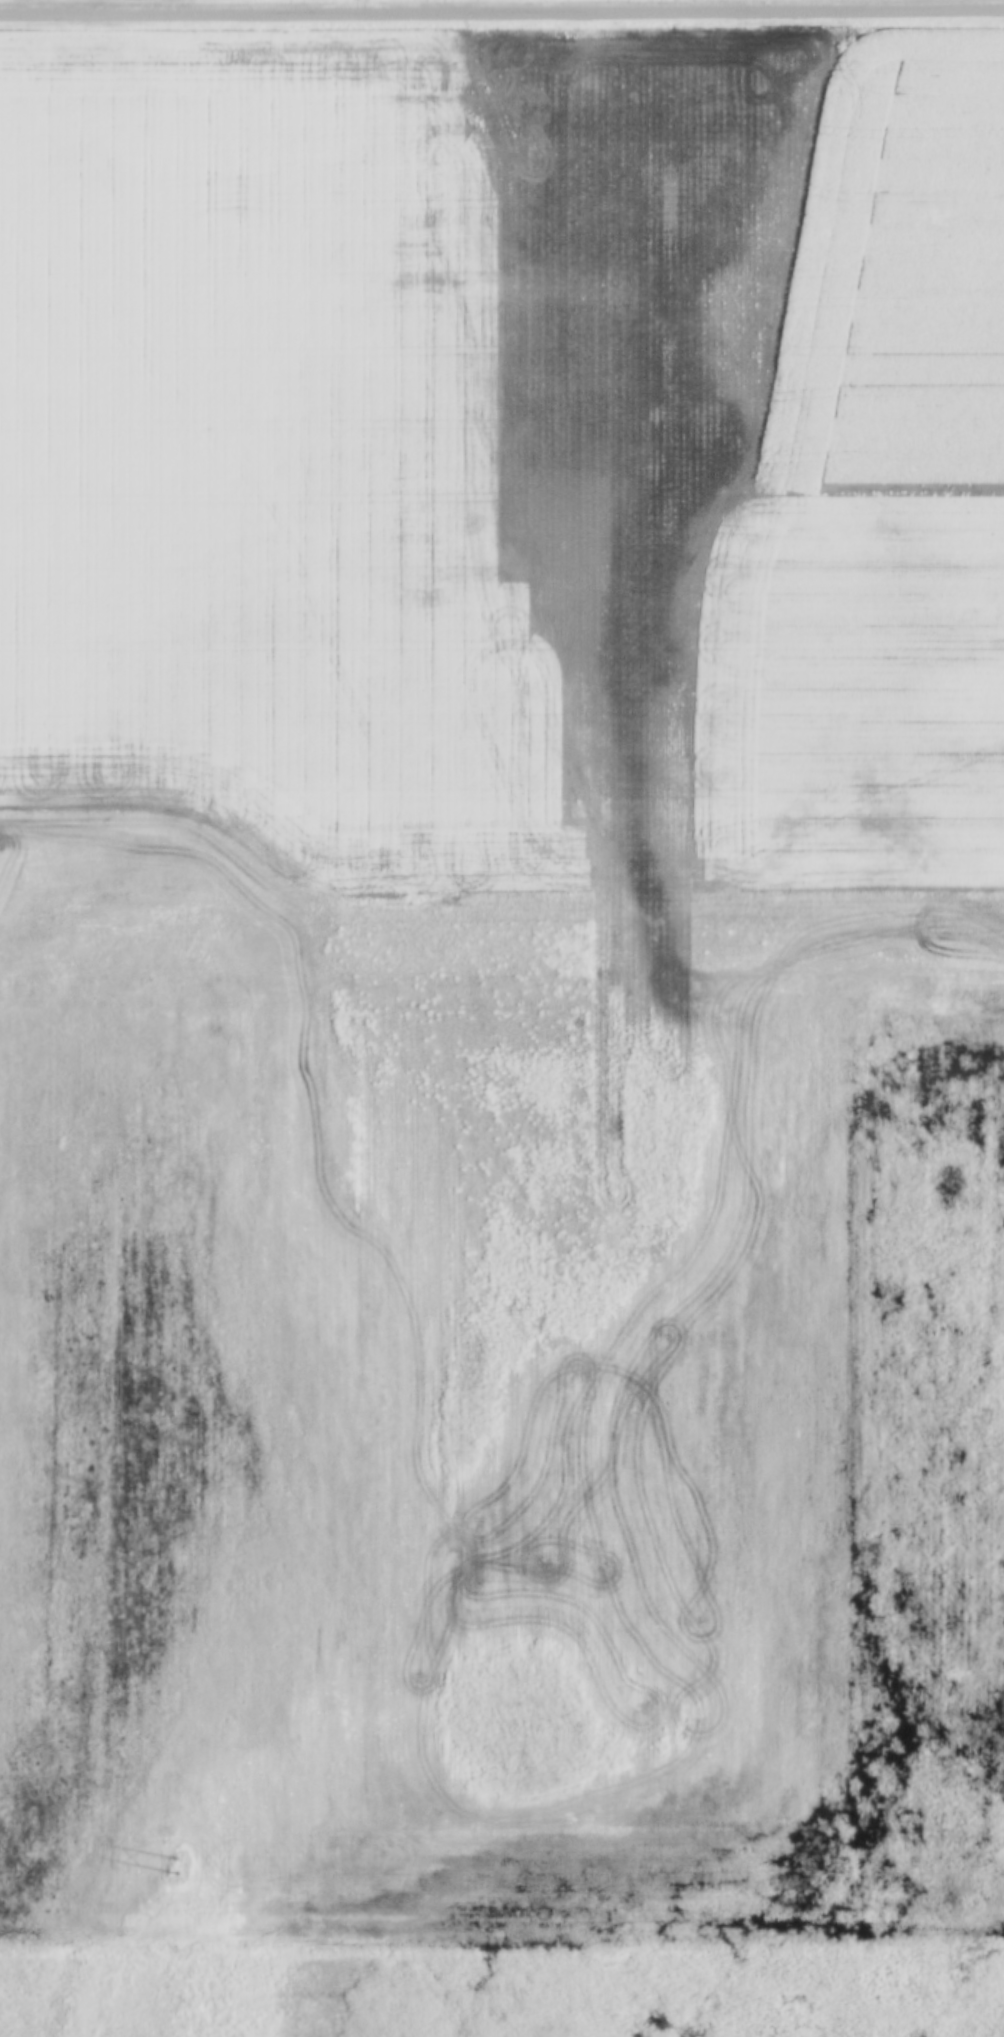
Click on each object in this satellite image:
road: (502, 14)
crop: (451, 865)
power tower: (173, 1864)
power tower: (843, 1867)

